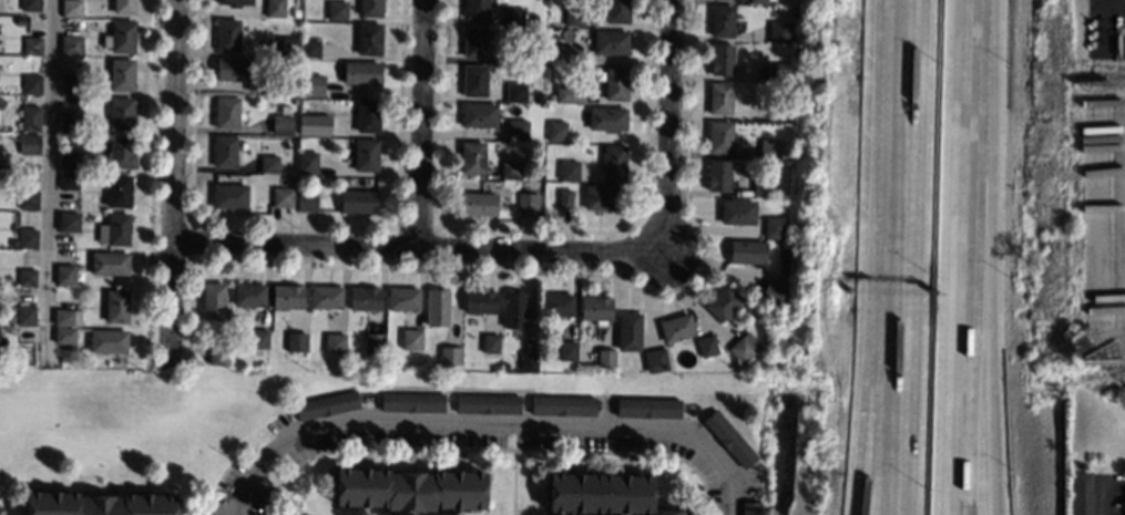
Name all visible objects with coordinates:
building: (757, 1)
building: (236, 2)
building: (30, 6)
building: (123, 7)
building: (71, 8)
building: (274, 8)
building: (370, 8)
building: (477, 9)
building: (336, 10)
building: (616, 11)
building: (573, 16)
building: (513, 17)
building: (722, 20)
building: (69, 22)
building: (778, 31)
building: (227, 33)
building: (121, 35)
building: (369, 38)
building: (473, 41)
building: (610, 41)
building: (32, 44)
building: (71, 44)
building: (288, 47)
building: (310, 48)
building: (562, 53)
building: (503, 56)
road: (910, 58)
building: (720, 59)
building: (104, 65)
building: (234, 69)
building: (776, 71)
building: (361, 72)
building: (122, 73)
building: (474, 81)
building: (31, 83)
building: (69, 83)
building: (615, 84)
building: (274, 85)
building: (317, 86)
building: (515, 92)
building: (570, 94)
building: (540, 96)
building: (719, 97)
building: (1, 102)
building: (776, 110)
building: (226, 112)
building: (117, 114)
building: (478, 114)
building: (368, 115)
building: (30, 117)
building: (606, 119)
building: (69, 122)
building: (282, 124)
building: (335, 126)
road: (423, 126)
road: (668, 126)
building: (301, 130)
building: (517, 130)
building: (556, 130)
building: (718, 136)
building: (29, 143)
building: (768, 148)
building: (224, 151)
building: (122, 152)
building: (366, 155)
building: (472, 157)
building: (68, 159)
building: (307, 162)
building: (613, 162)
building: (268, 163)
building: (510, 169)
building: (567, 169)
building: (718, 175)
road: (173, 178)
building: (69, 179)
road: (49, 181)
building: (761, 186)
building: (119, 190)
building: (229, 196)
building: (564, 196)
building: (282, 197)
building: (600, 197)
building: (29, 199)
building: (307, 200)
building: (357, 200)
building: (477, 203)
building: (526, 205)
building: (737, 212)
building: (69, 222)
building: (773, 227)
building: (115, 229)
building: (28, 237)
road: (418, 251)
building: (747, 251)
road: (964, 257)
road: (988, 257)
building: (110, 262)
building: (783, 266)
building: (64, 274)
building: (27, 276)
building: (771, 292)
building: (248, 295)
building: (287, 296)
building: (326, 296)
building: (364, 298)
building: (403, 298)
building: (213, 301)
building: (480, 301)
building: (722, 301)
building: (556, 303)
building: (116, 305)
building: (437, 307)
building: (514, 309)
building: (595, 309)
building: (25, 315)
road: (886, 315)
road: (903, 315)
building: (67, 317)
building: (675, 328)
building: (627, 331)
building: (63, 334)
building: (259, 338)
building: (108, 340)
building: (413, 340)
building: (296, 341)
building: (334, 342)
building: (374, 342)
building: (490, 342)
building: (705, 346)
building: (743, 347)
building: (566, 350)
building: (217, 352)
building: (449, 354)
building: (604, 358)
building: (526, 360)
building: (655, 360)
building: (411, 402)
building: (488, 403)
building: (325, 404)
building: (562, 405)
building: (648, 408)
road: (473, 423)
building: (728, 440)
building: (409, 488)
building: (604, 493)
building: (1081, 493)
road: (1100, 496)
road: (733, 497)
building: (98, 504)
building: (748, 508)

